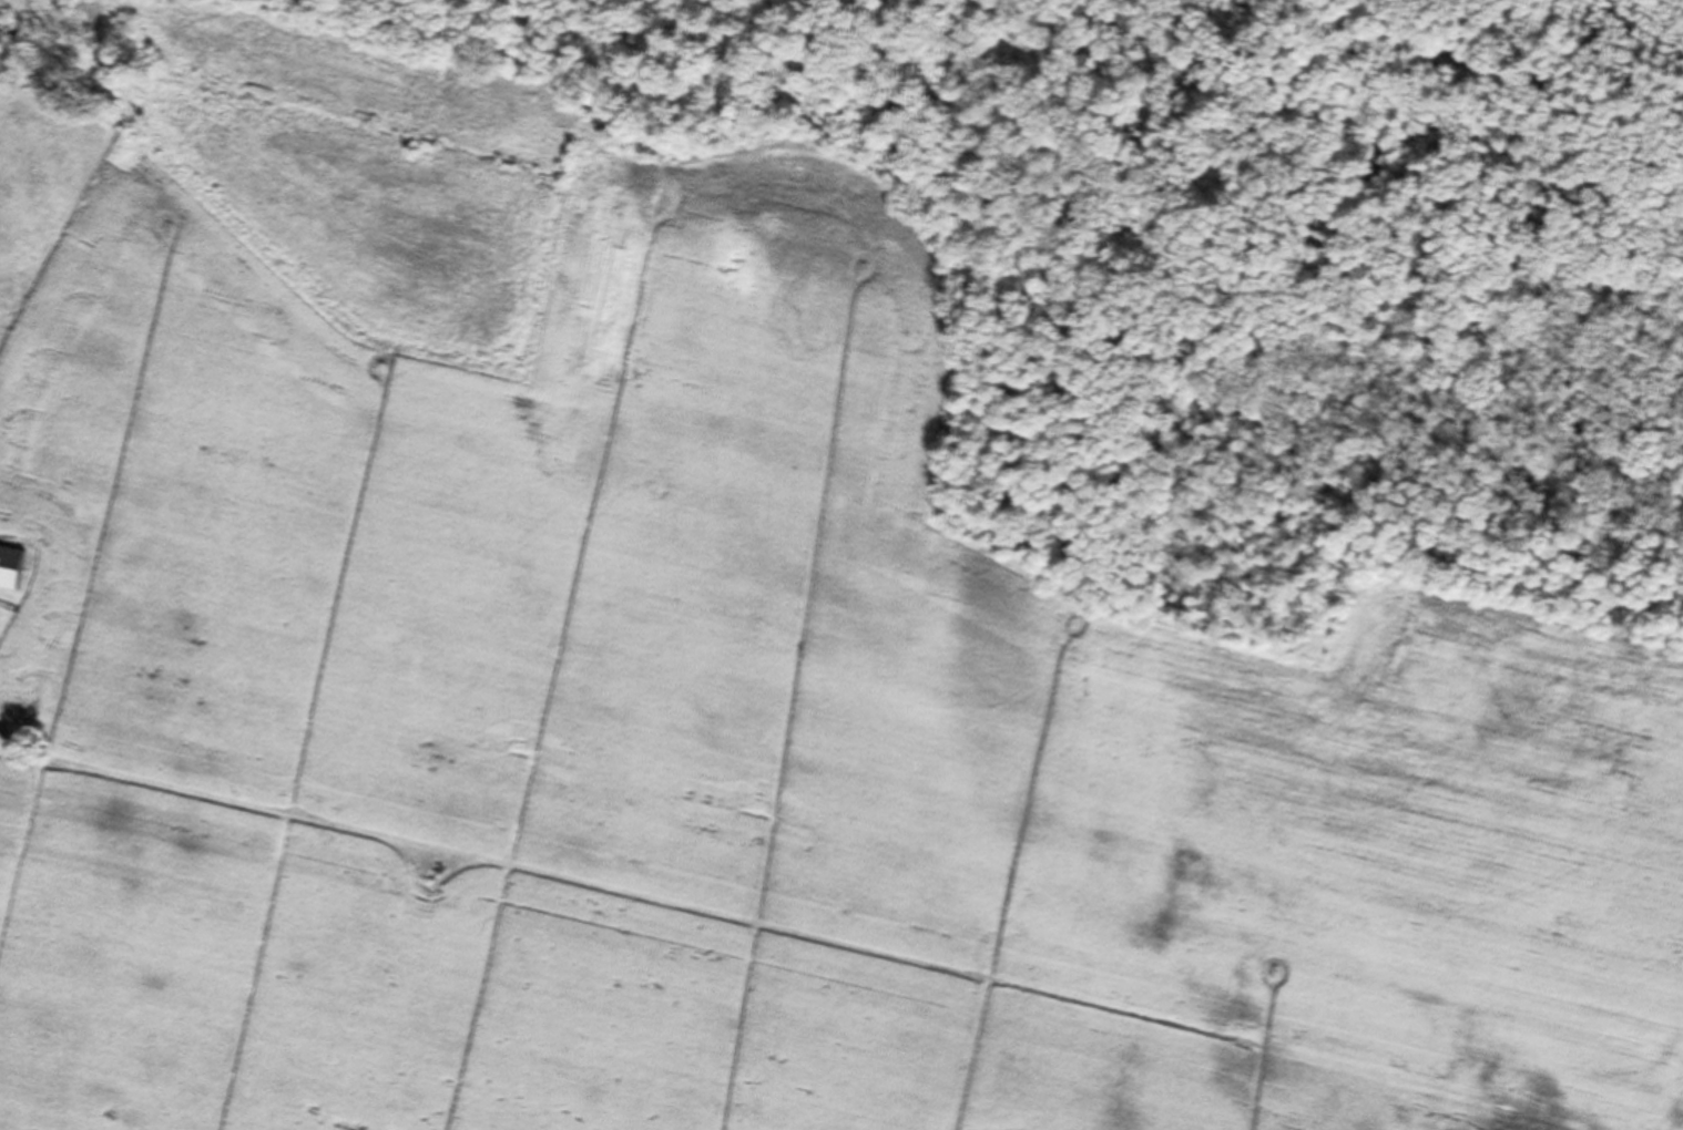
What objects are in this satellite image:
building: (11, 577)

